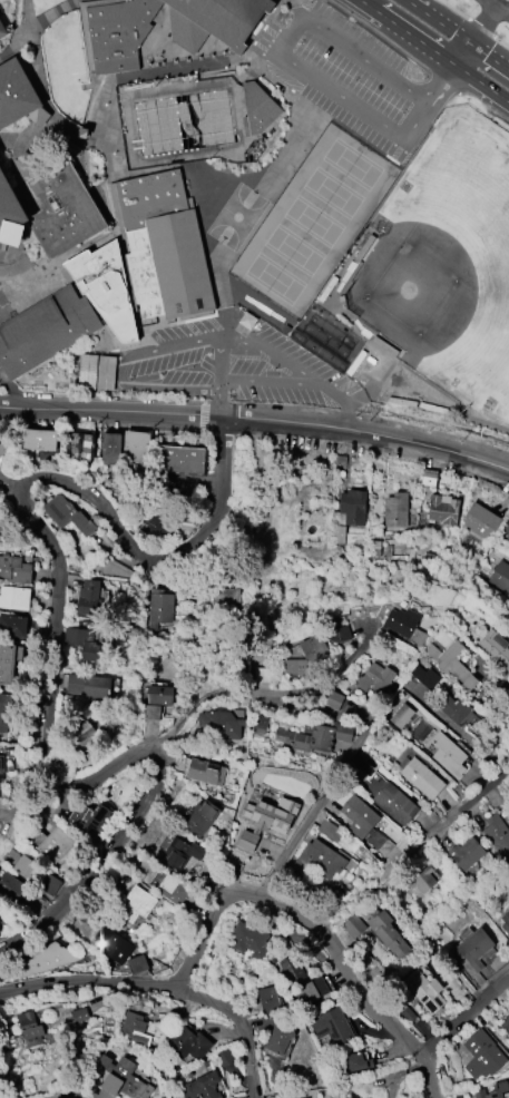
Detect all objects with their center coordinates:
road: (409, 1)
road: (366, 6)
road: (500, 6)
road: (298, 10)
road: (31, 12)
building: (214, 20)
road: (477, 22)
building: (2, 29)
building: (117, 31)
road: (460, 36)
road: (478, 36)
road: (292, 37)
road: (415, 40)
road: (385, 42)
road: (186, 68)
road: (42, 71)
parking lot: (349, 77)
road: (443, 86)
road: (482, 86)
building: (18, 95)
building: (257, 108)
road: (418, 122)
park: (352, 166)
road: (111, 176)
park: (332, 195)
road: (254, 205)
building: (49, 208)
park: (237, 218)
park: (313, 223)
building: (163, 244)
park: (294, 252)
road: (128, 263)
park: (275, 282)
building: (106, 286)
park: (417, 286)
building: (247, 321)
building: (43, 327)
road: (267, 350)
road: (115, 356)
parking lot: (221, 364)
building: (96, 372)
road: (301, 379)
road: (218, 395)
road: (109, 411)
road: (365, 434)
building: (37, 440)
building: (78, 445)
building: (135, 448)
building: (110, 449)
building: (1, 450)
building: (179, 459)
building: (350, 508)
building: (442, 509)
building: (395, 510)
building: (67, 514)
road: (33, 519)
building: (157, 519)
building: (480, 522)
building: (506, 528)
building: (508, 537)
building: (337, 540)
building: (14, 569)
building: (500, 577)
building: (227, 590)
building: (14, 598)
building: (88, 598)
building: (102, 599)
building: (161, 606)
building: (405, 625)
building: (13, 626)
building: (340, 635)
building: (86, 638)
building: (315, 647)
building: (496, 647)
building: (7, 663)
building: (452, 664)
building: (425, 677)
building: (375, 679)
building: (88, 685)
road: (294, 692)
building: (160, 695)
building: (335, 700)
building: (457, 709)
building: (4, 713)
building: (151, 713)
building: (402, 716)
road: (172, 723)
building: (223, 725)
building: (81, 736)
building: (313, 738)
building: (449, 755)
building: (1, 767)
building: (206, 772)
building: (420, 776)
building: (397, 803)
road: (321, 808)
building: (200, 817)
building: (89, 820)
building: (363, 822)
road: (447, 825)
building: (330, 829)
building: (498, 834)
building: (55, 845)
building: (467, 853)
building: (179, 854)
building: (319, 860)
road: (106, 865)
building: (37, 875)
building: (421, 881)
building: (12, 888)
building: (173, 891)
building: (138, 903)
building: (506, 922)
building: (353, 925)
building: (385, 930)
building: (248, 940)
building: (114, 947)
building: (472, 951)
building: (47, 960)
building: (137, 964)
building: (293, 970)
road: (158, 988)
building: (312, 991)
road: (359, 991)
building: (425, 991)
building: (270, 1000)
building: (79, 1016)
road: (466, 1018)
building: (506, 1025)
road: (243, 1026)
building: (333, 1027)
building: (29, 1029)
building: (134, 1029)
building: (278, 1038)
building: (190, 1043)
building: (481, 1055)
building: (358, 1061)
building: (121, 1079)
building: (203, 1087)
building: (493, 1091)
road: (72, 1096)

